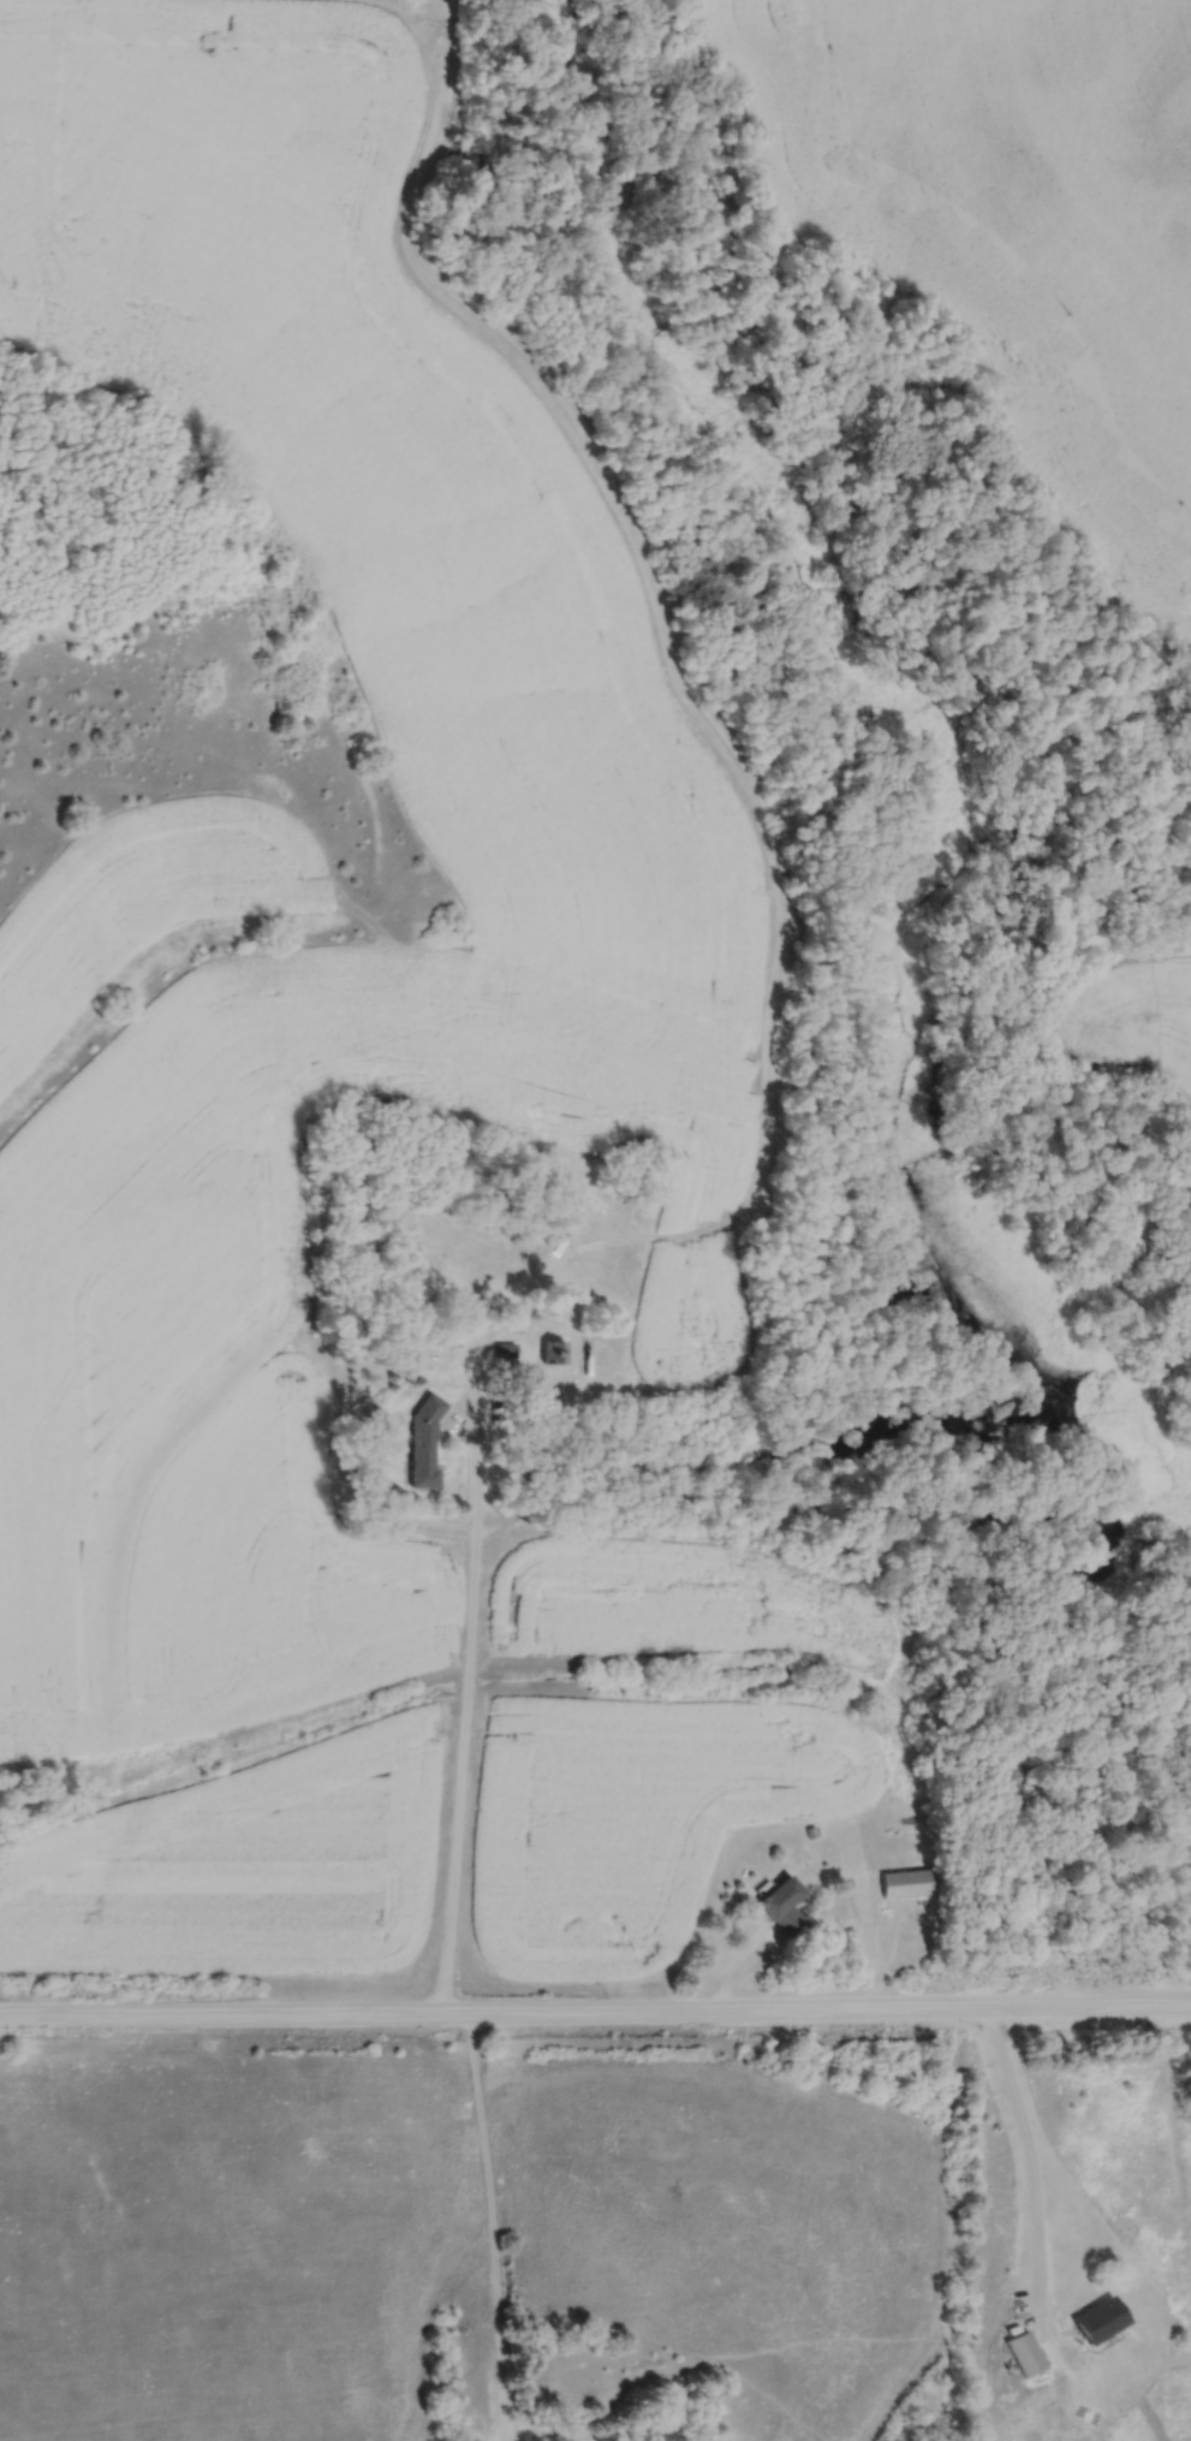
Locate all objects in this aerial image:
building: (600, 1276)
building: (430, 1443)
road: (461, 1701)
building: (912, 1884)
building: (786, 1899)
road: (595, 2002)
road: (1028, 2160)
road: (490, 2222)
building: (1107, 2322)
building: (1031, 2356)

